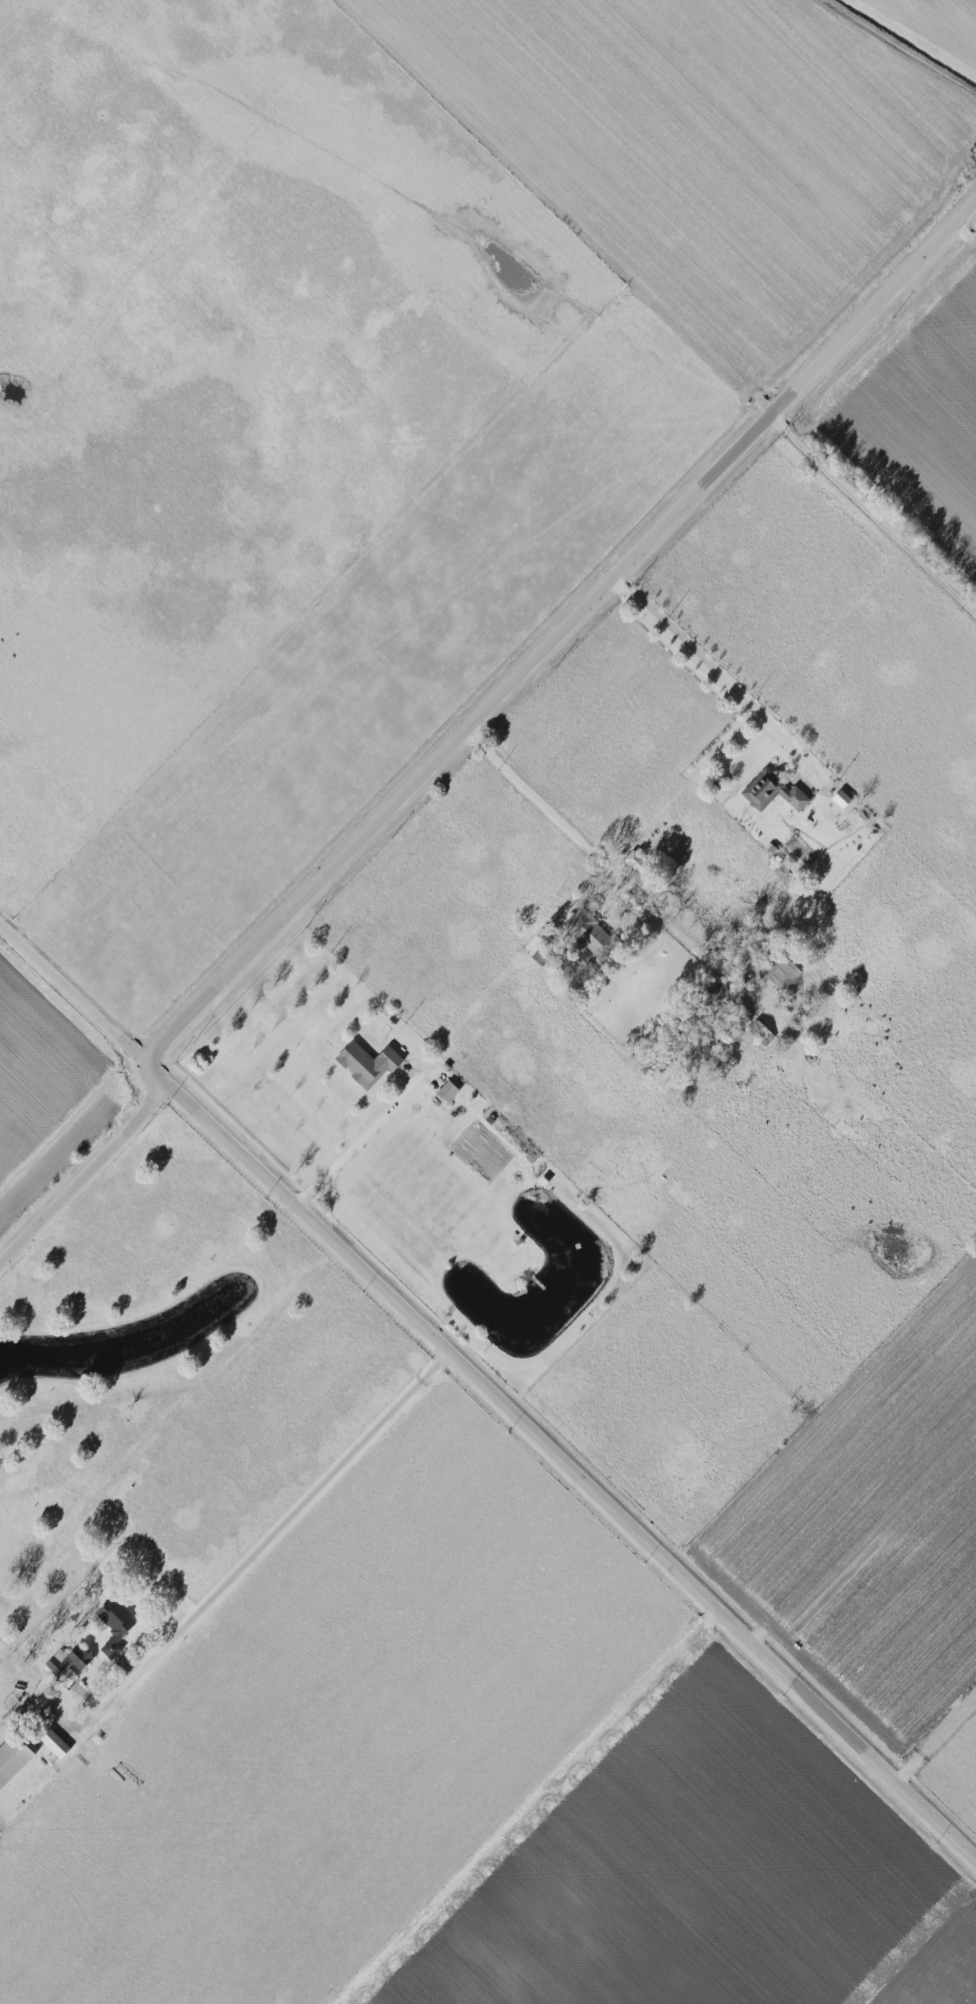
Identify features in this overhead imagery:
road: (874, 514)
road: (561, 630)
road: (751, 729)
building: (772, 792)
building: (840, 799)
road: (596, 845)
building: (633, 860)
building: (594, 937)
building: (782, 972)
building: (760, 1032)
building: (366, 1064)
building: (447, 1092)
road: (358, 1140)
road: (87, 1175)
road: (488, 1384)
road: (274, 1534)
building: (113, 1625)
building: (68, 1658)
building: (67, 1677)
road: (937, 1737)
building: (54, 1743)
building: (11, 1759)
road: (532, 1806)

